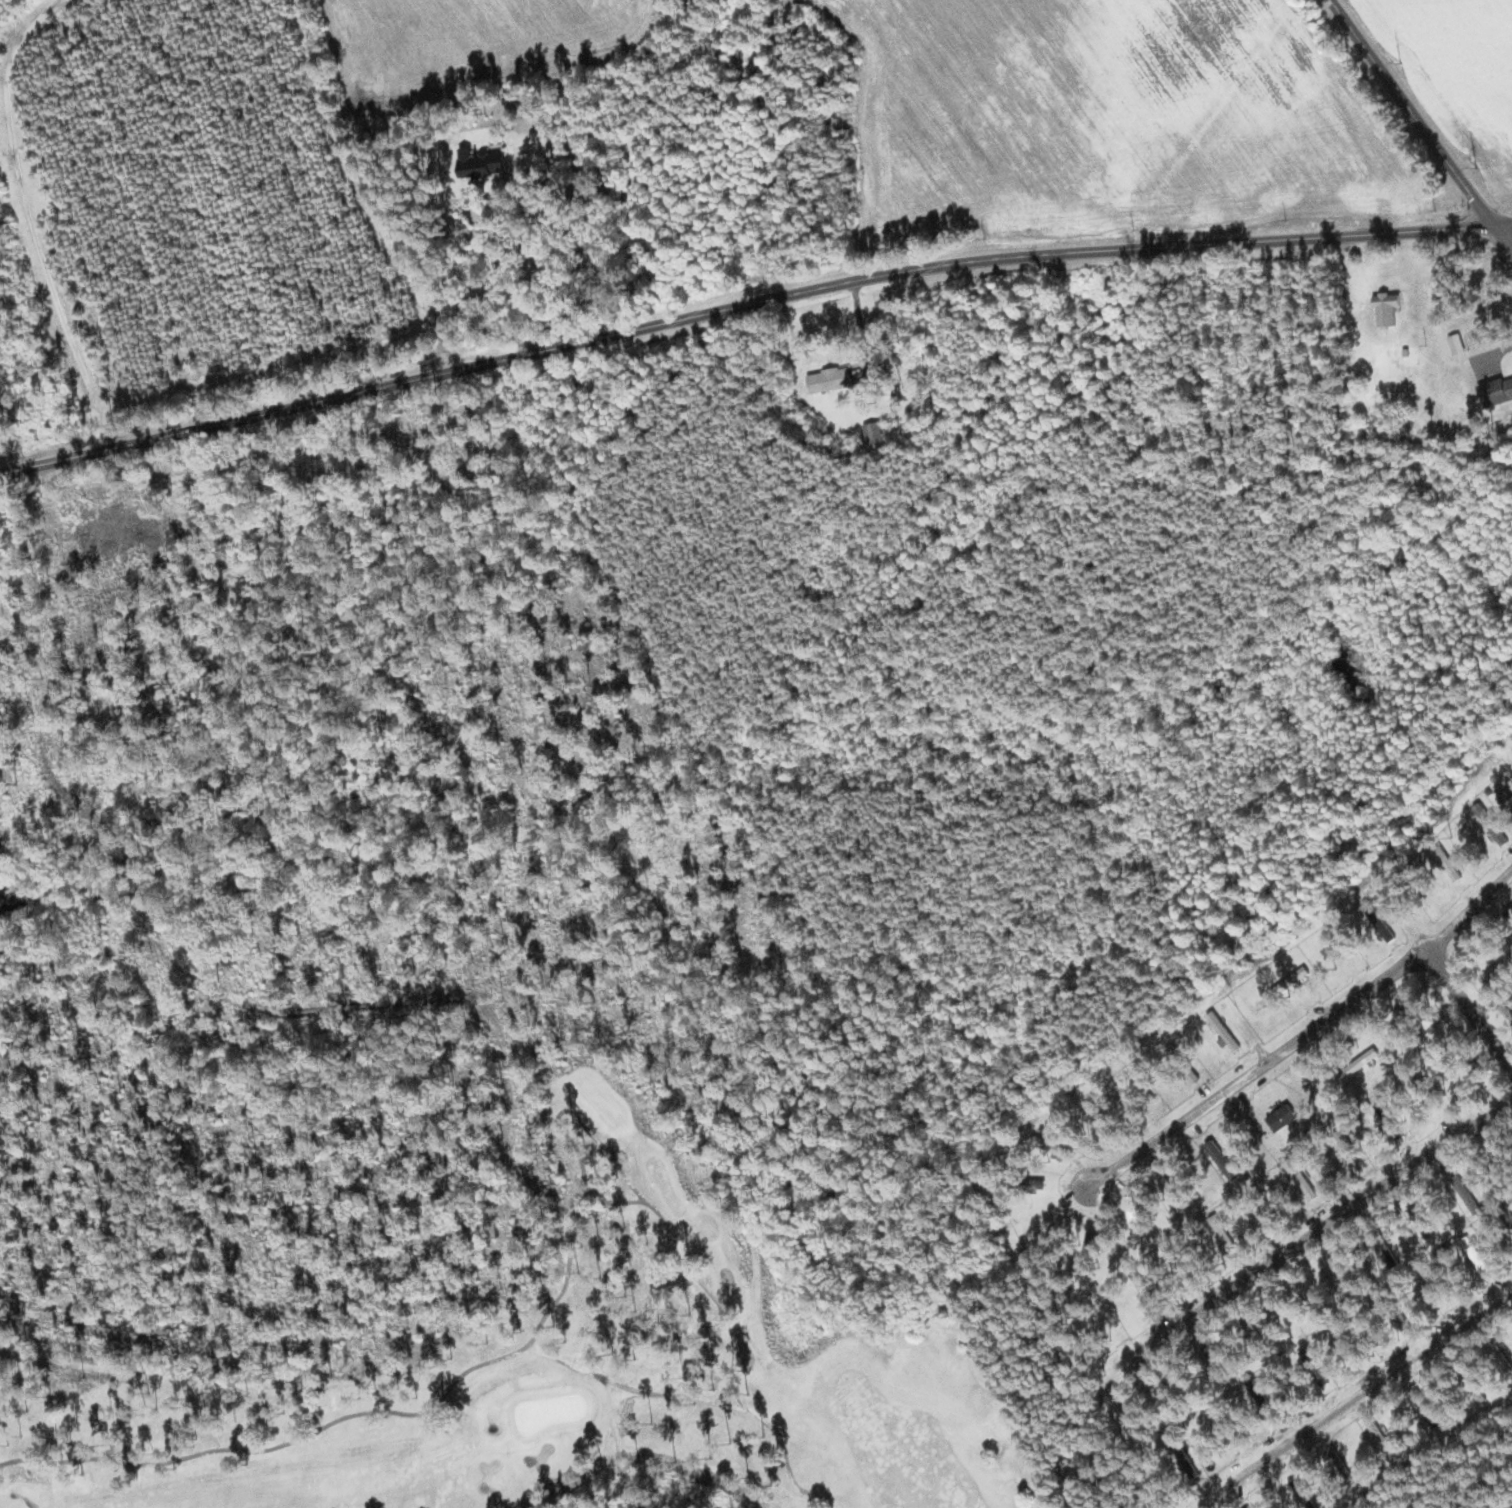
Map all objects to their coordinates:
road: (1423, 123)
building: (480, 162)
road: (749, 295)
building: (1386, 308)
building: (1456, 343)
building: (830, 380)
building: (1495, 391)
building: (872, 432)
building: (1507, 795)
building: (1491, 824)
building: (1380, 922)
building: (1497, 972)
building: (1290, 981)
road: (1469, 1007)
building: (1223, 1032)
road: (1307, 1034)
building: (1282, 1117)
building: (1388, 1119)
building: (1222, 1160)
building: (1170, 1191)
road: (1296, 1247)
building: (1384, 1249)
building: (1086, 1253)
building: (1317, 1370)
park: (618, 1373)
building: (1479, 1395)
road: (1351, 1400)
road: (1107, 1456)
building: (1187, 1465)

